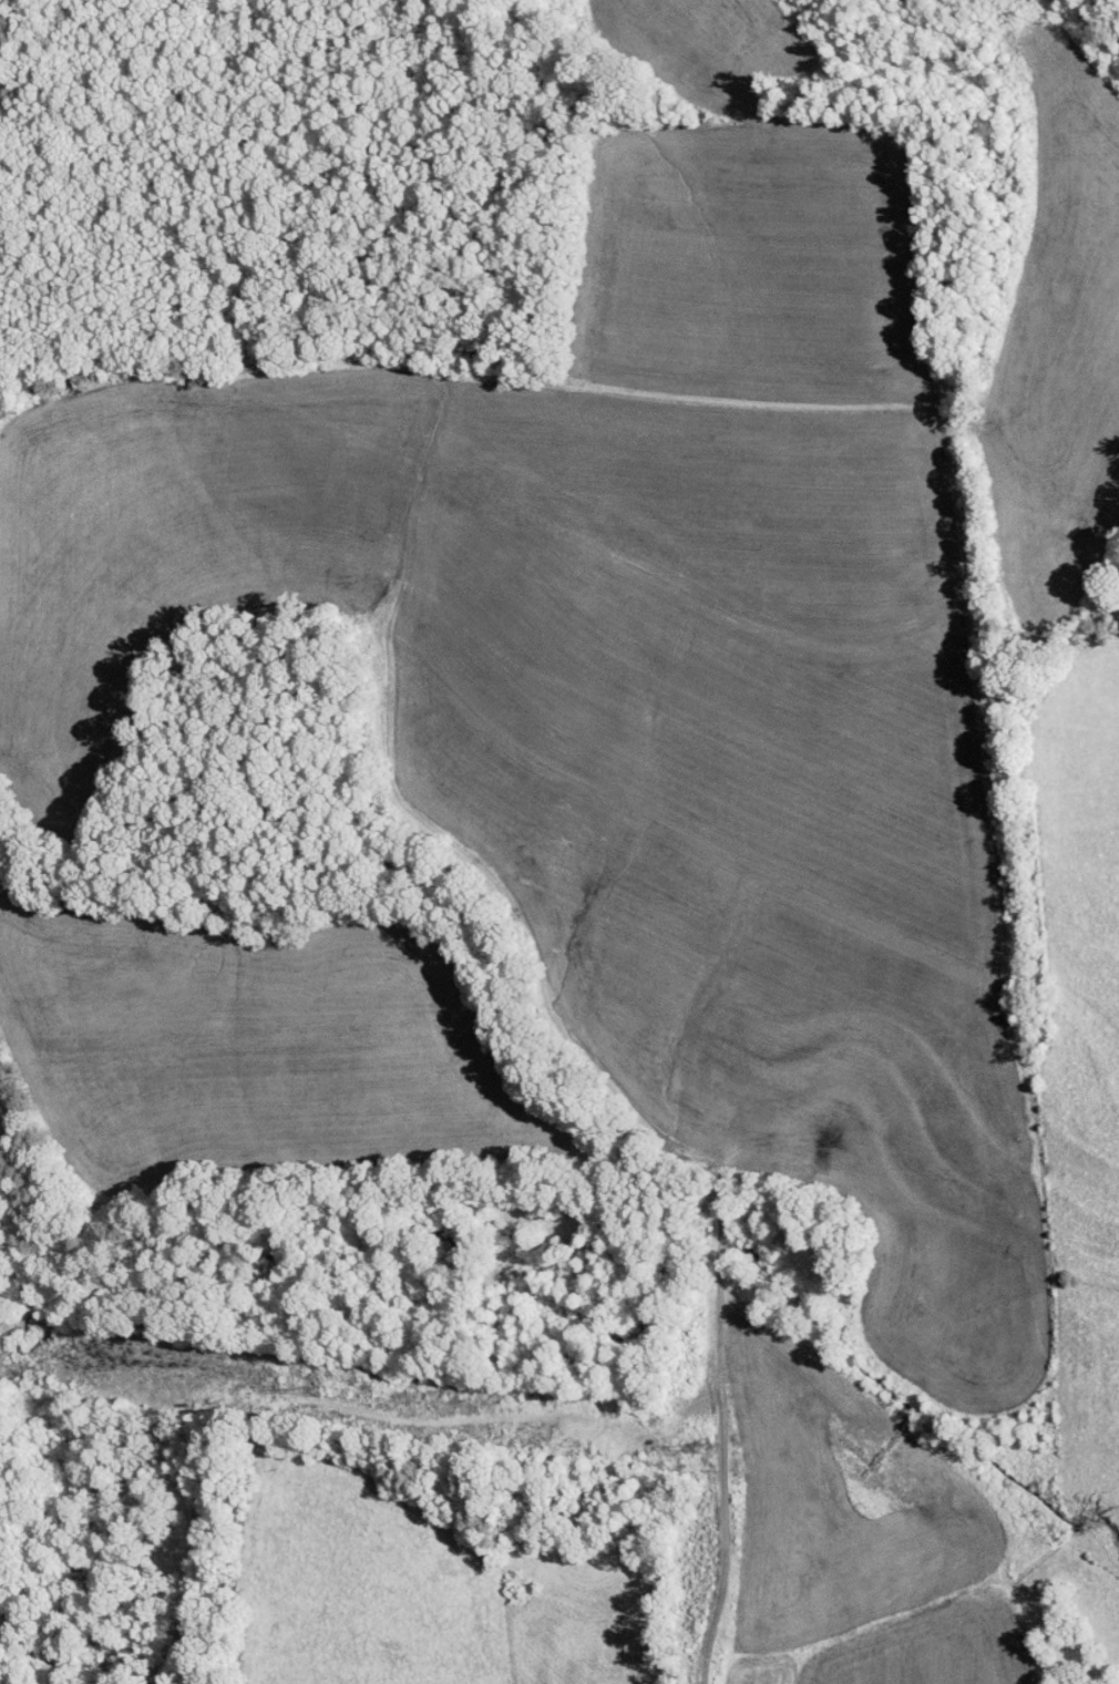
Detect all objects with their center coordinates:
power tower: (318, 1392)
power tower: (697, 1447)

